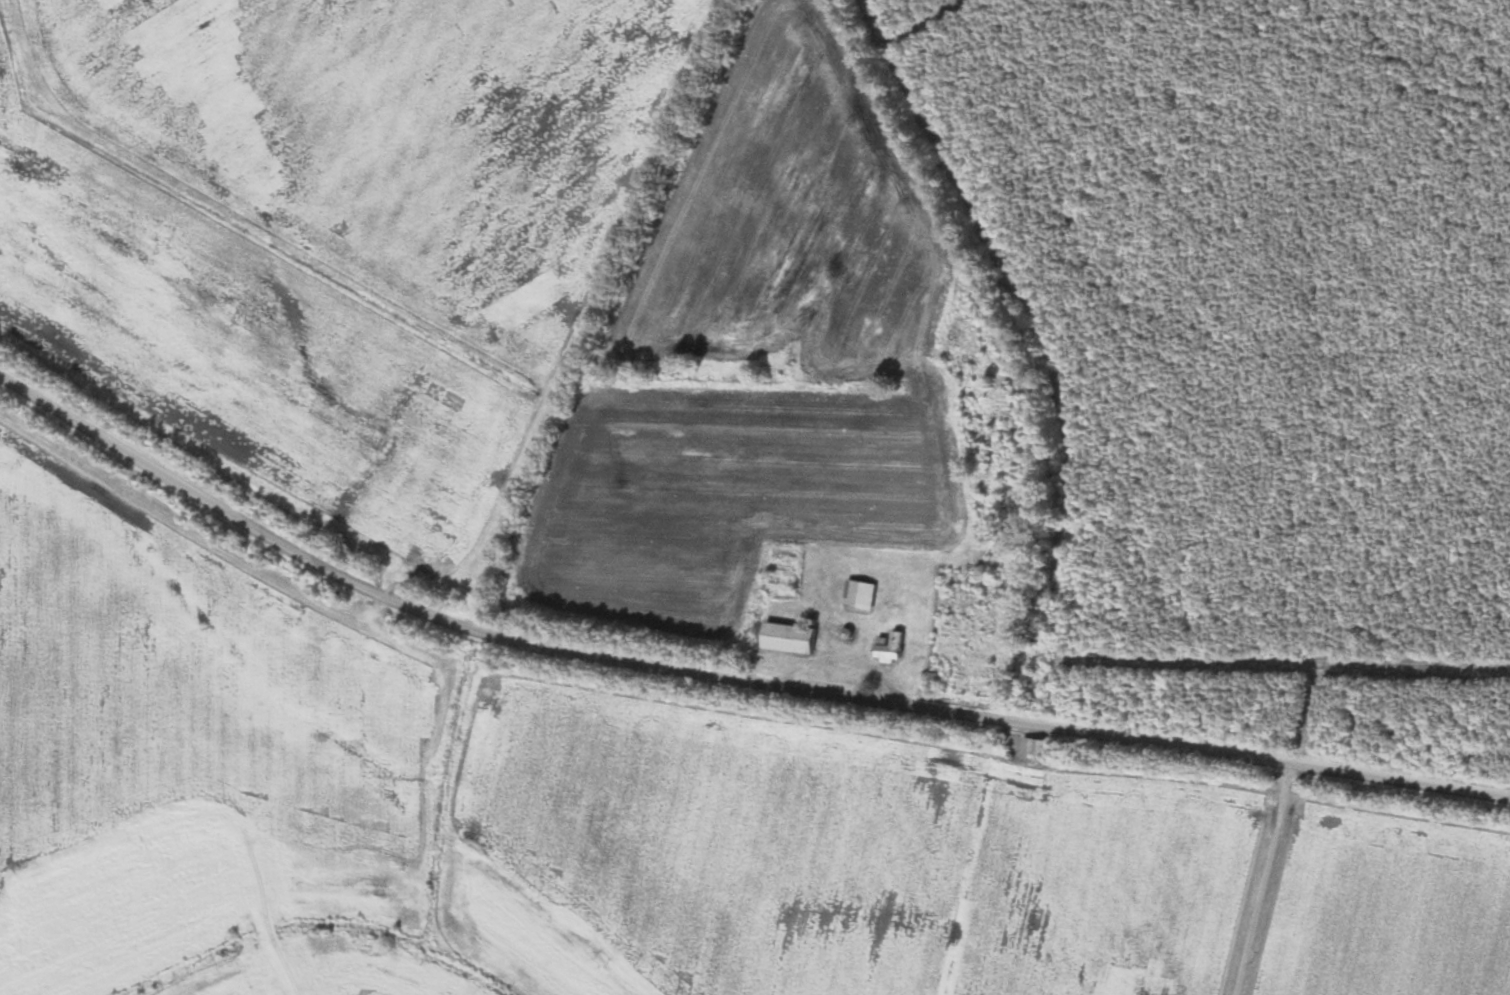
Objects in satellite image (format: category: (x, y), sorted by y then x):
building: (857, 595)
building: (786, 638)
building: (888, 649)
road: (724, 678)
building: (1036, 747)

